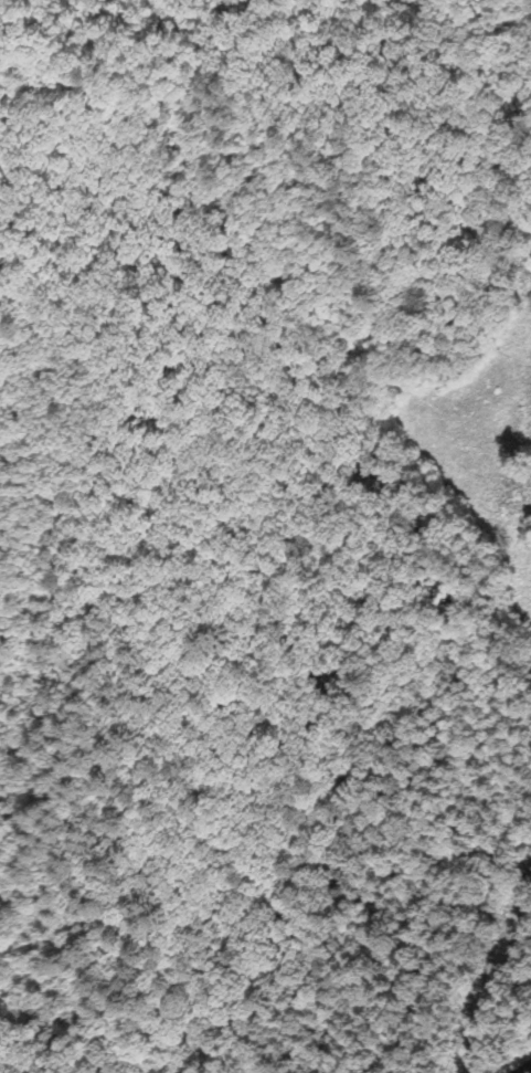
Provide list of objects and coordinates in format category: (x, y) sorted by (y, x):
road: (251, 362)
road: (411, 685)
road: (501, 991)
road: (521, 1066)

